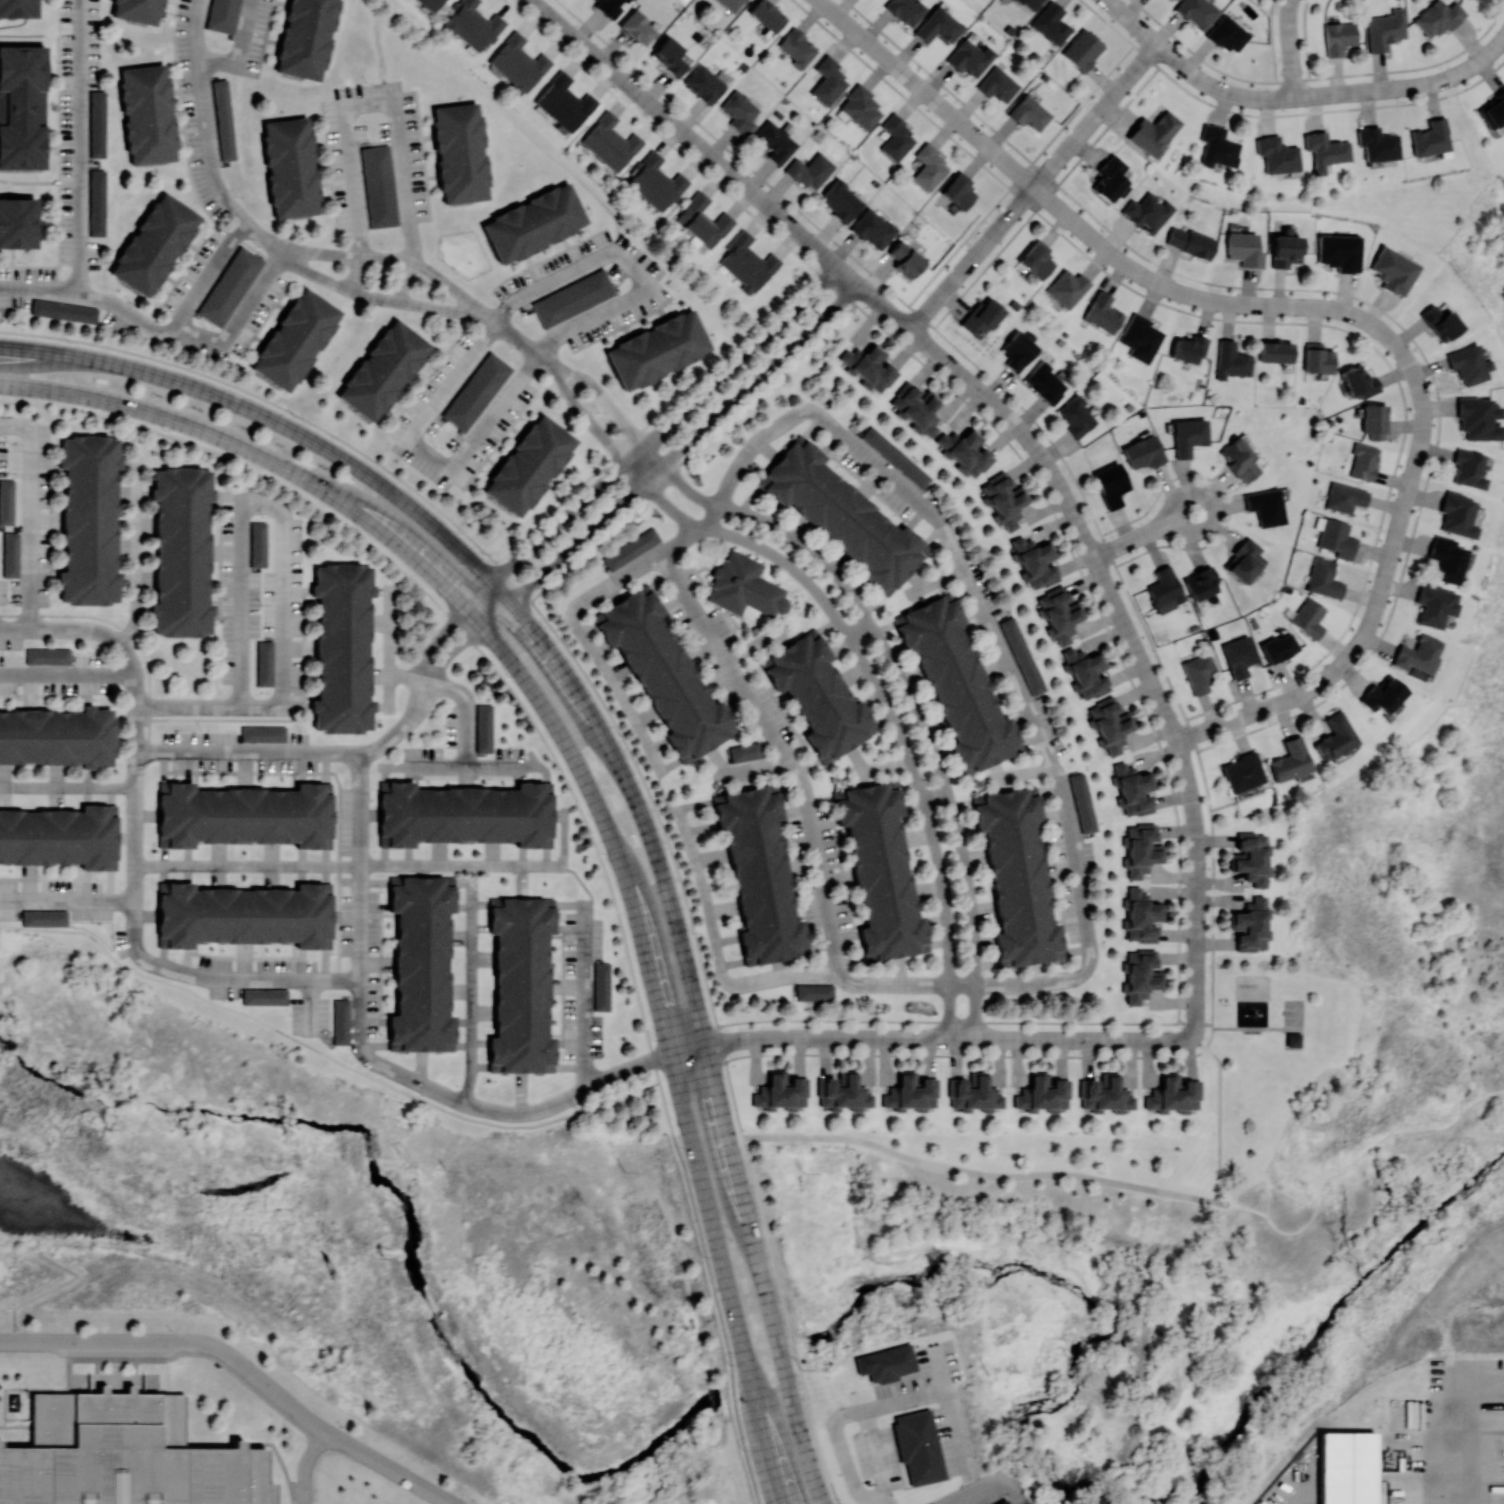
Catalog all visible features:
building: (1478, 0)
building: (430, 4)
building: (730, 4)
building: (1029, 4)
building: (609, 7)
building: (20, 8)
building: (137, 11)
building: (904, 11)
building: (1196, 12)
building: (225, 16)
building: (765, 16)
building: (1437, 18)
building: (1050, 24)
building: (471, 25)
building: (937, 26)
building: (637, 28)
building: (1384, 30)
building: (1227, 34)
building: (306, 38)
building: (1338, 38)
building: (796, 48)
road: (1288, 48)
building: (1081, 50)
building: (669, 56)
building: (968, 58)
road: (218, 62)
building: (517, 64)
road: (1187, 72)
building: (827, 81)
building: (706, 83)
building: (996, 85)
road: (1406, 86)
road: (926, 93)
road: (375, 101)
building: (562, 103)
building: (22, 105)
building: (858, 108)
building: (1492, 111)
building: (739, 112)
building: (1028, 113)
building: (147, 115)
building: (225, 121)
building: (100, 126)
building: (1152, 133)
road: (682, 134)
building: (1430, 138)
building: (896, 139)
building: (777, 140)
building: (609, 143)
building: (1376, 145)
road: (59, 146)
road: (80, 147)
building: (1217, 147)
building: (1324, 151)
building: (459, 153)
building: (1276, 155)
building: (289, 168)
building: (929, 168)
building: (809, 171)
road: (213, 173)
building: (1108, 178)
road: (39, 182)
building: (381, 188)
road: (1033, 188)
building: (957, 191)
building: (839, 200)
building: (100, 205)
building: (1146, 213)
building: (701, 221)
building: (18, 223)
building: (532, 223)
building: (872, 229)
building: (1175, 237)
building: (153, 246)
building: (1284, 249)
building: (1243, 250)
building: (1338, 252)
building: (904, 258)
road: (390, 259)
building: (1035, 260)
road: (69, 263)
building: (746, 263)
road: (29, 265)
road: (628, 265)
building: (1392, 271)
road: (210, 272)
road: (354, 274)
road: (402, 281)
road: (37, 289)
building: (232, 289)
building: (1067, 289)
road: (375, 298)
building: (573, 299)
building: (67, 314)
road: (127, 314)
building: (1102, 314)
building: (980, 318)
road: (239, 319)
building: (1439, 322)
building: (1139, 338)
building: (295, 340)
road: (517, 341)
building: (1018, 349)
building: (1188, 349)
building: (657, 350)
road: (33, 351)
building: (1275, 352)
building: (1317, 359)
building: (1231, 360)
building: (1467, 364)
building: (869, 367)
building: (382, 370)
building: (1357, 382)
building: (1044, 383)
building: (476, 389)
road: (1420, 395)
building: (915, 408)
road: (614, 409)
building: (1074, 416)
building: (1478, 419)
building: (1373, 421)
road: (595, 428)
building: (1187, 436)
road: (650, 438)
street lamp: (10, 444)
building: (964, 451)
building: (1141, 453)
road: (671, 456)
road: (431, 457)
building: (898, 458)
building: (1239, 458)
building: (1363, 462)
road: (45, 463)
building: (528, 465)
building: (1468, 469)
road: (1050, 472)
road: (59, 473)
street lamp: (10, 474)
building: (1110, 484)
road: (228, 495)
building: (1343, 498)
road: (241, 499)
building: (1003, 499)
road: (215, 504)
building: (8, 505)
building: (1264, 507)
building: (1457, 515)
road: (30, 516)
building: (842, 516)
street lamp: (264, 517)
road: (53, 520)
building: (92, 522)
road: (1146, 533)
road: (389, 539)
road: (682, 542)
building: (260, 545)
building: (631, 549)
road: (137, 552)
road: (221, 552)
building: (184, 553)
building: (13, 555)
building: (1446, 559)
building: (1034, 561)
building: (1242, 561)
road: (60, 570)
street lamp: (1085, 571)
road: (45, 577)
building: (1322, 579)
building: (1199, 583)
road: (936, 584)
building: (747, 587)
road: (298, 590)
building: (1164, 590)
road: (500, 592)
road: (312, 600)
road: (216, 602)
street lamp: (10, 603)
street lamp: (263, 605)
building: (1434, 605)
road: (240, 607)
road: (228, 610)
road: (282, 611)
building: (1058, 614)
building: (1308, 618)
road: (859, 630)
road: (125, 631)
road: (94, 633)
road: (994, 639)
road: (756, 646)
road: (303, 647)
road: (589, 647)
building: (1278, 647)
building: (343, 648)
road: (390, 649)
street lamp: (1151, 650)
street lamp: (90, 652)
building: (1417, 654)
road: (425, 656)
building: (1238, 656)
building: (1022, 657)
building: (49, 658)
road: (724, 658)
building: (266, 665)
street lamp: (1324, 665)
road: (443, 666)
building: (1198, 672)
building: (1085, 673)
building: (663, 674)
road: (67, 675)
street lamp: (507, 676)
road: (403, 678)
building: (956, 683)
road: (90, 690)
street lamp: (262, 693)
building: (817, 696)
road: (910, 696)
building: (1381, 696)
road: (45, 697)
road: (310, 697)
street lamp: (20, 700)
street lamp: (95, 700)
road: (80, 704)
road: (296, 704)
road: (886, 705)
road: (187, 708)
road: (466, 709)
road: (229, 720)
building: (1109, 724)
street lamp: (446, 725)
building: (485, 729)
street lamp: (202, 730)
road: (135, 731)
street lamp: (300, 731)
building: (265, 735)
building: (57, 737)
street lamp: (619, 737)
building: (1335, 738)
street lamp: (426, 747)
street lamp: (511, 747)
road: (282, 754)
building: (746, 754)
street lamp: (1196, 755)
building: (1290, 760)
road: (166, 768)
road: (327, 769)
road: (882, 769)
road: (459, 771)
road: (752, 771)
building: (1241, 772)
road: (1023, 774)
street lamp: (178, 776)
street lamp: (236, 777)
street lamp: (315, 777)
road: (410, 777)
road: (524, 777)
road: (467, 778)
road: (198, 782)
road: (295, 782)
road: (418, 784)
road: (516, 785)
road: (67, 788)
building: (165, 788)
building: (331, 789)
building: (384, 789)
building: (550, 789)
building: (1132, 789)
road: (341, 792)
road: (935, 794)
street lamp: (372, 801)
building: (1083, 804)
building: (114, 811)
building: (248, 816)
building: (467, 817)
road: (134, 827)
building: (59, 838)
building: (165, 843)
building: (331, 844)
building: (384, 844)
building: (550, 844)
building: (1140, 849)
street lamp: (603, 854)
building: (1251, 858)
road: (818, 865)
building: (114, 866)
road: (247, 867)
road: (490, 867)
road: (360, 868)
road: (80, 872)
building: (880, 872)
building: (759, 876)
street lamp: (40, 877)
building: (1016, 877)
road: (44, 880)
street lamp: (98, 881)
building: (395, 883)
building: (450, 883)
road: (582, 883)
road: (88, 886)
street lamp: (1185, 886)
road: (1197, 888)
building: (163, 889)
building: (329, 890)
street lamp: (382, 893)
road: (66, 900)
building: (495, 905)
building: (550, 905)
road: (375, 908)
road: (389, 916)
building: (1140, 916)
building: (246, 917)
building: (46, 919)
street lamp: (564, 921)
street lamp: (93, 922)
building: (1250, 925)
road: (570, 929)
street lamp: (693, 933)
road: (557, 938)
building: (163, 944)
building: (329, 945)
road: (197, 949)
road: (716, 950)
road: (294, 952)
street lamp: (257, 954)
street lamp: (334, 955)
road: (245, 959)
street lamp: (176, 960)
road: (188, 962)
road: (381, 965)
road: (303, 966)
building: (423, 966)
road: (648, 969)
building: (1139, 975)
road: (195, 977)
street lamp: (388, 977)
street lamp: (560, 977)
road: (335, 981)
road: (564, 986)
road: (905, 986)
building: (522, 988)
building: (604, 989)
building: (813, 992)
road: (470, 994)
road: (585, 995)
building: (267, 998)
street lamp: (224, 1002)
road: (1447, 1005)
road: (311, 1007)
road: (389, 1014)
park: (1293, 1014)
street lamp: (290, 1016)
road: (375, 1022)
building: (344, 1024)
street lamp: (1179, 1028)
road: (1248, 1029)
street lamp: (381, 1035)
road: (556, 1036)
road: (930, 1038)
street lamp: (653, 1040)
park: (1293, 1041)
building: (1294, 1042)
road: (570, 1044)
building: (395, 1049)
building: (450, 1049)
street lamp: (813, 1052)
street lamp: (944, 1052)
street lamp: (1075, 1054)
road: (325, 1055)
street lamp: (564, 1060)
road: (629, 1068)
building: (495, 1071)
building: (550, 1071)
road: (657, 1071)
street lamp: (457, 1086)
road: (732, 1090)
building: (780, 1092)
building: (841, 1092)
road: (441, 1093)
building: (910, 1093)
building: (972, 1094)
building: (1042, 1094)
building: (1104, 1095)
building: (1172, 1095)
street lamp: (576, 1109)
road: (1220, 1114)
road: (728, 1134)
street lamp: (681, 1148)
power tower: (805, 1175)
road: (985, 1176)
road: (1337, 1178)
road: (1249, 1209)
road: (712, 1231)
street lamp: (702, 1257)
road: (178, 1343)
road: (783, 1363)
building: (890, 1365)
street lamp: (728, 1366)
road: (910, 1398)
road: (1451, 1444)
building: (919, 1448)
street lamp: (741, 1451)
building: (127, 1456)
road: (769, 1456)
road: (307, 1466)
building: (1345, 1468)
road: (387, 1469)
road: (980, 1493)
building: (1006, 1502)

